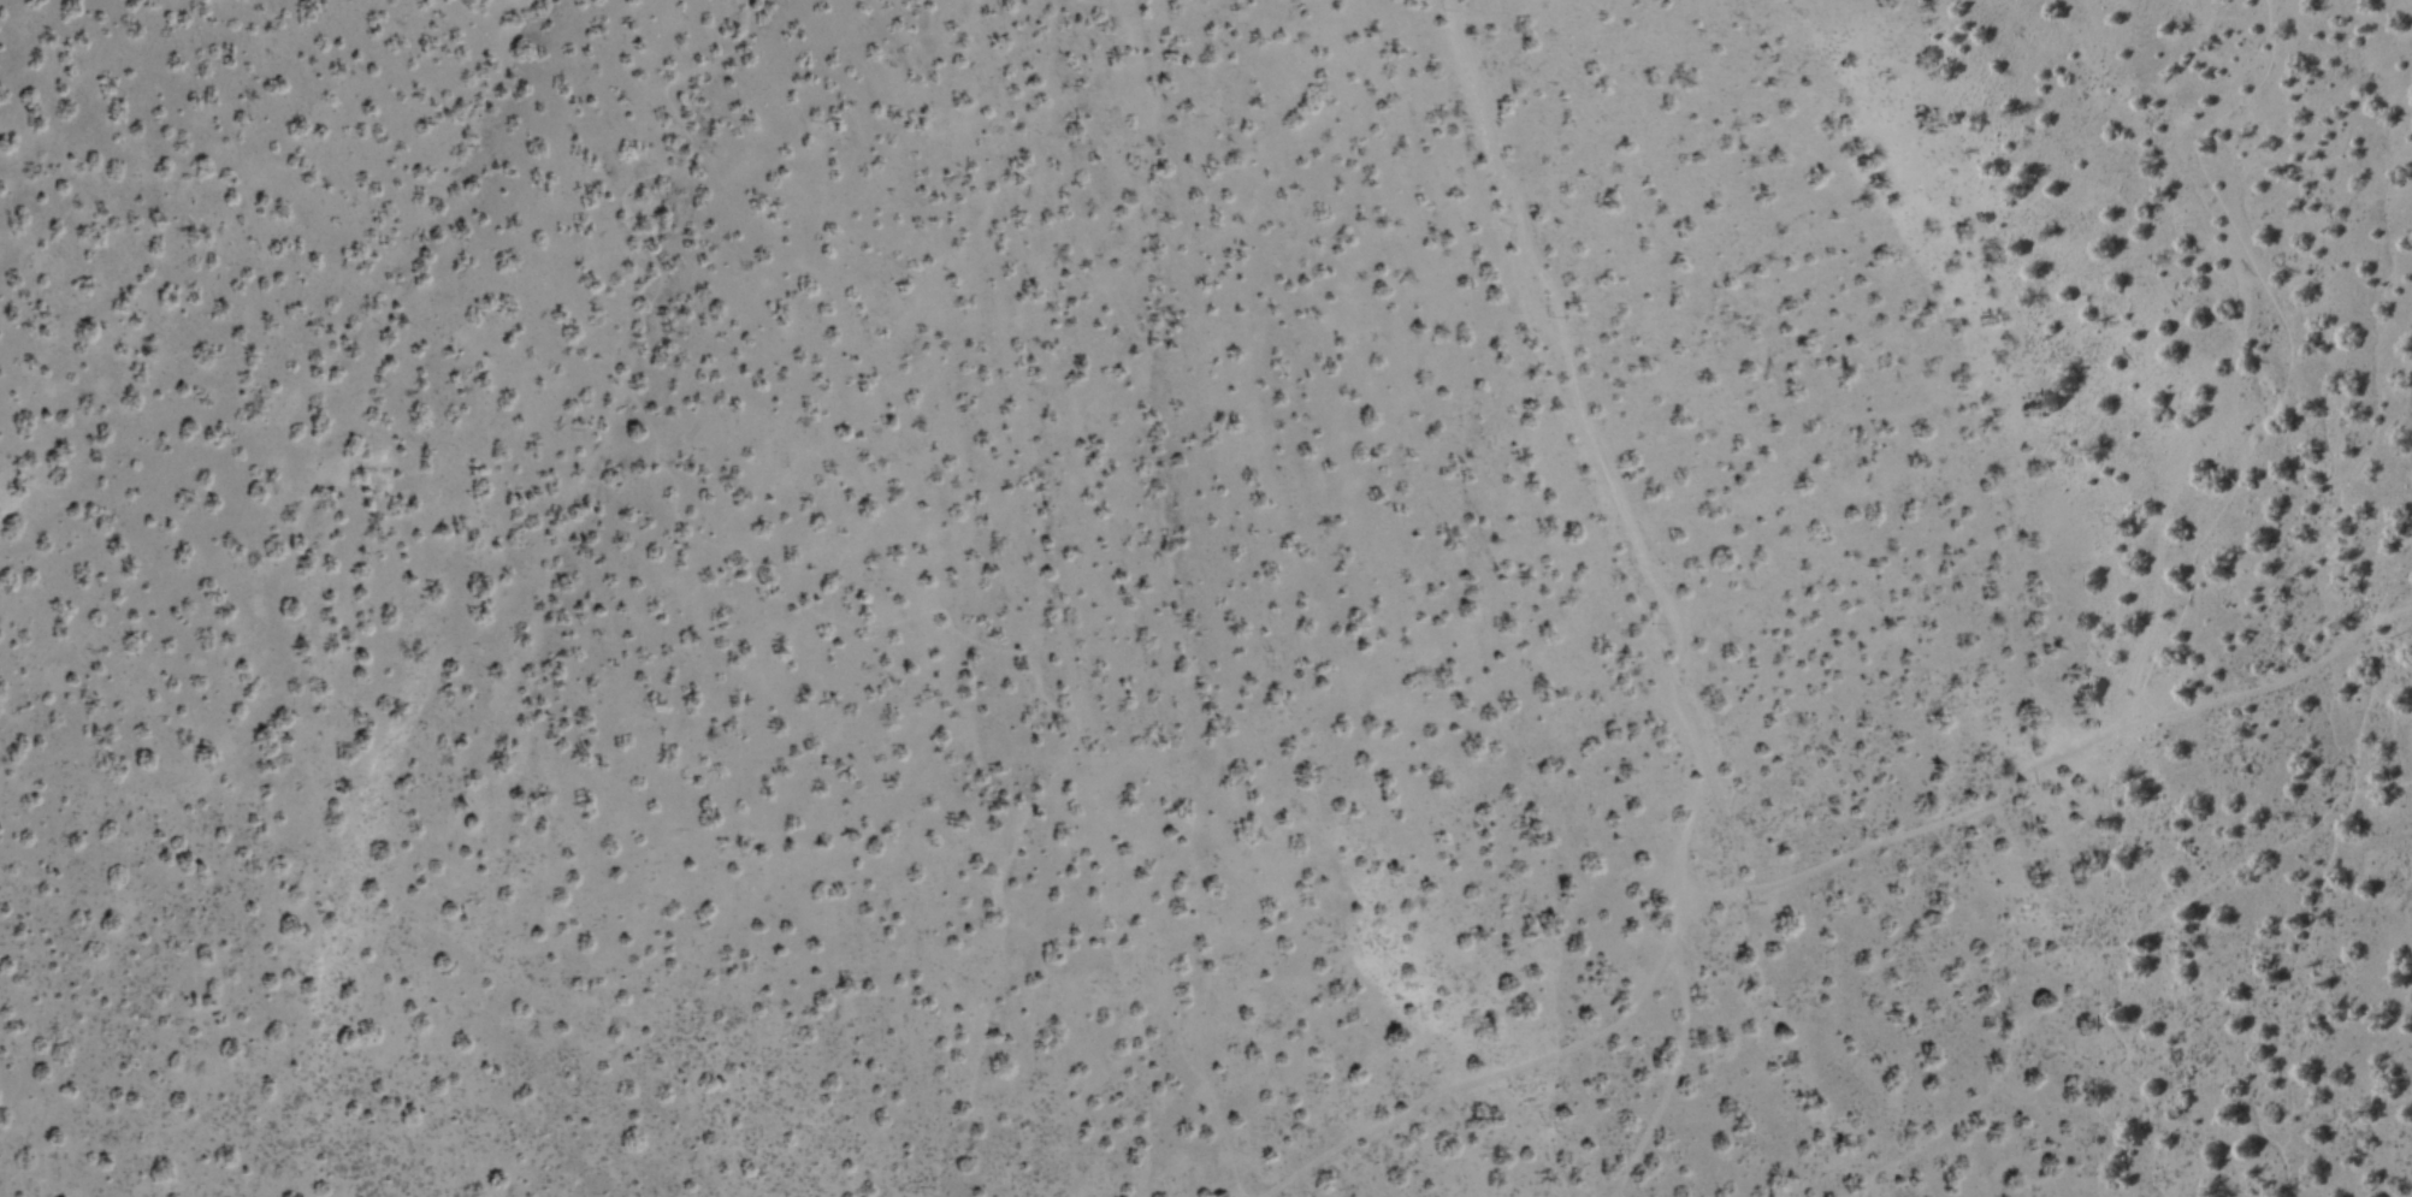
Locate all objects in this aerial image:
road: (2286, 366)
road: (1598, 466)
road: (1809, 870)
road: (2027, 884)
road: (2106, 947)
road: (1672, 1068)

